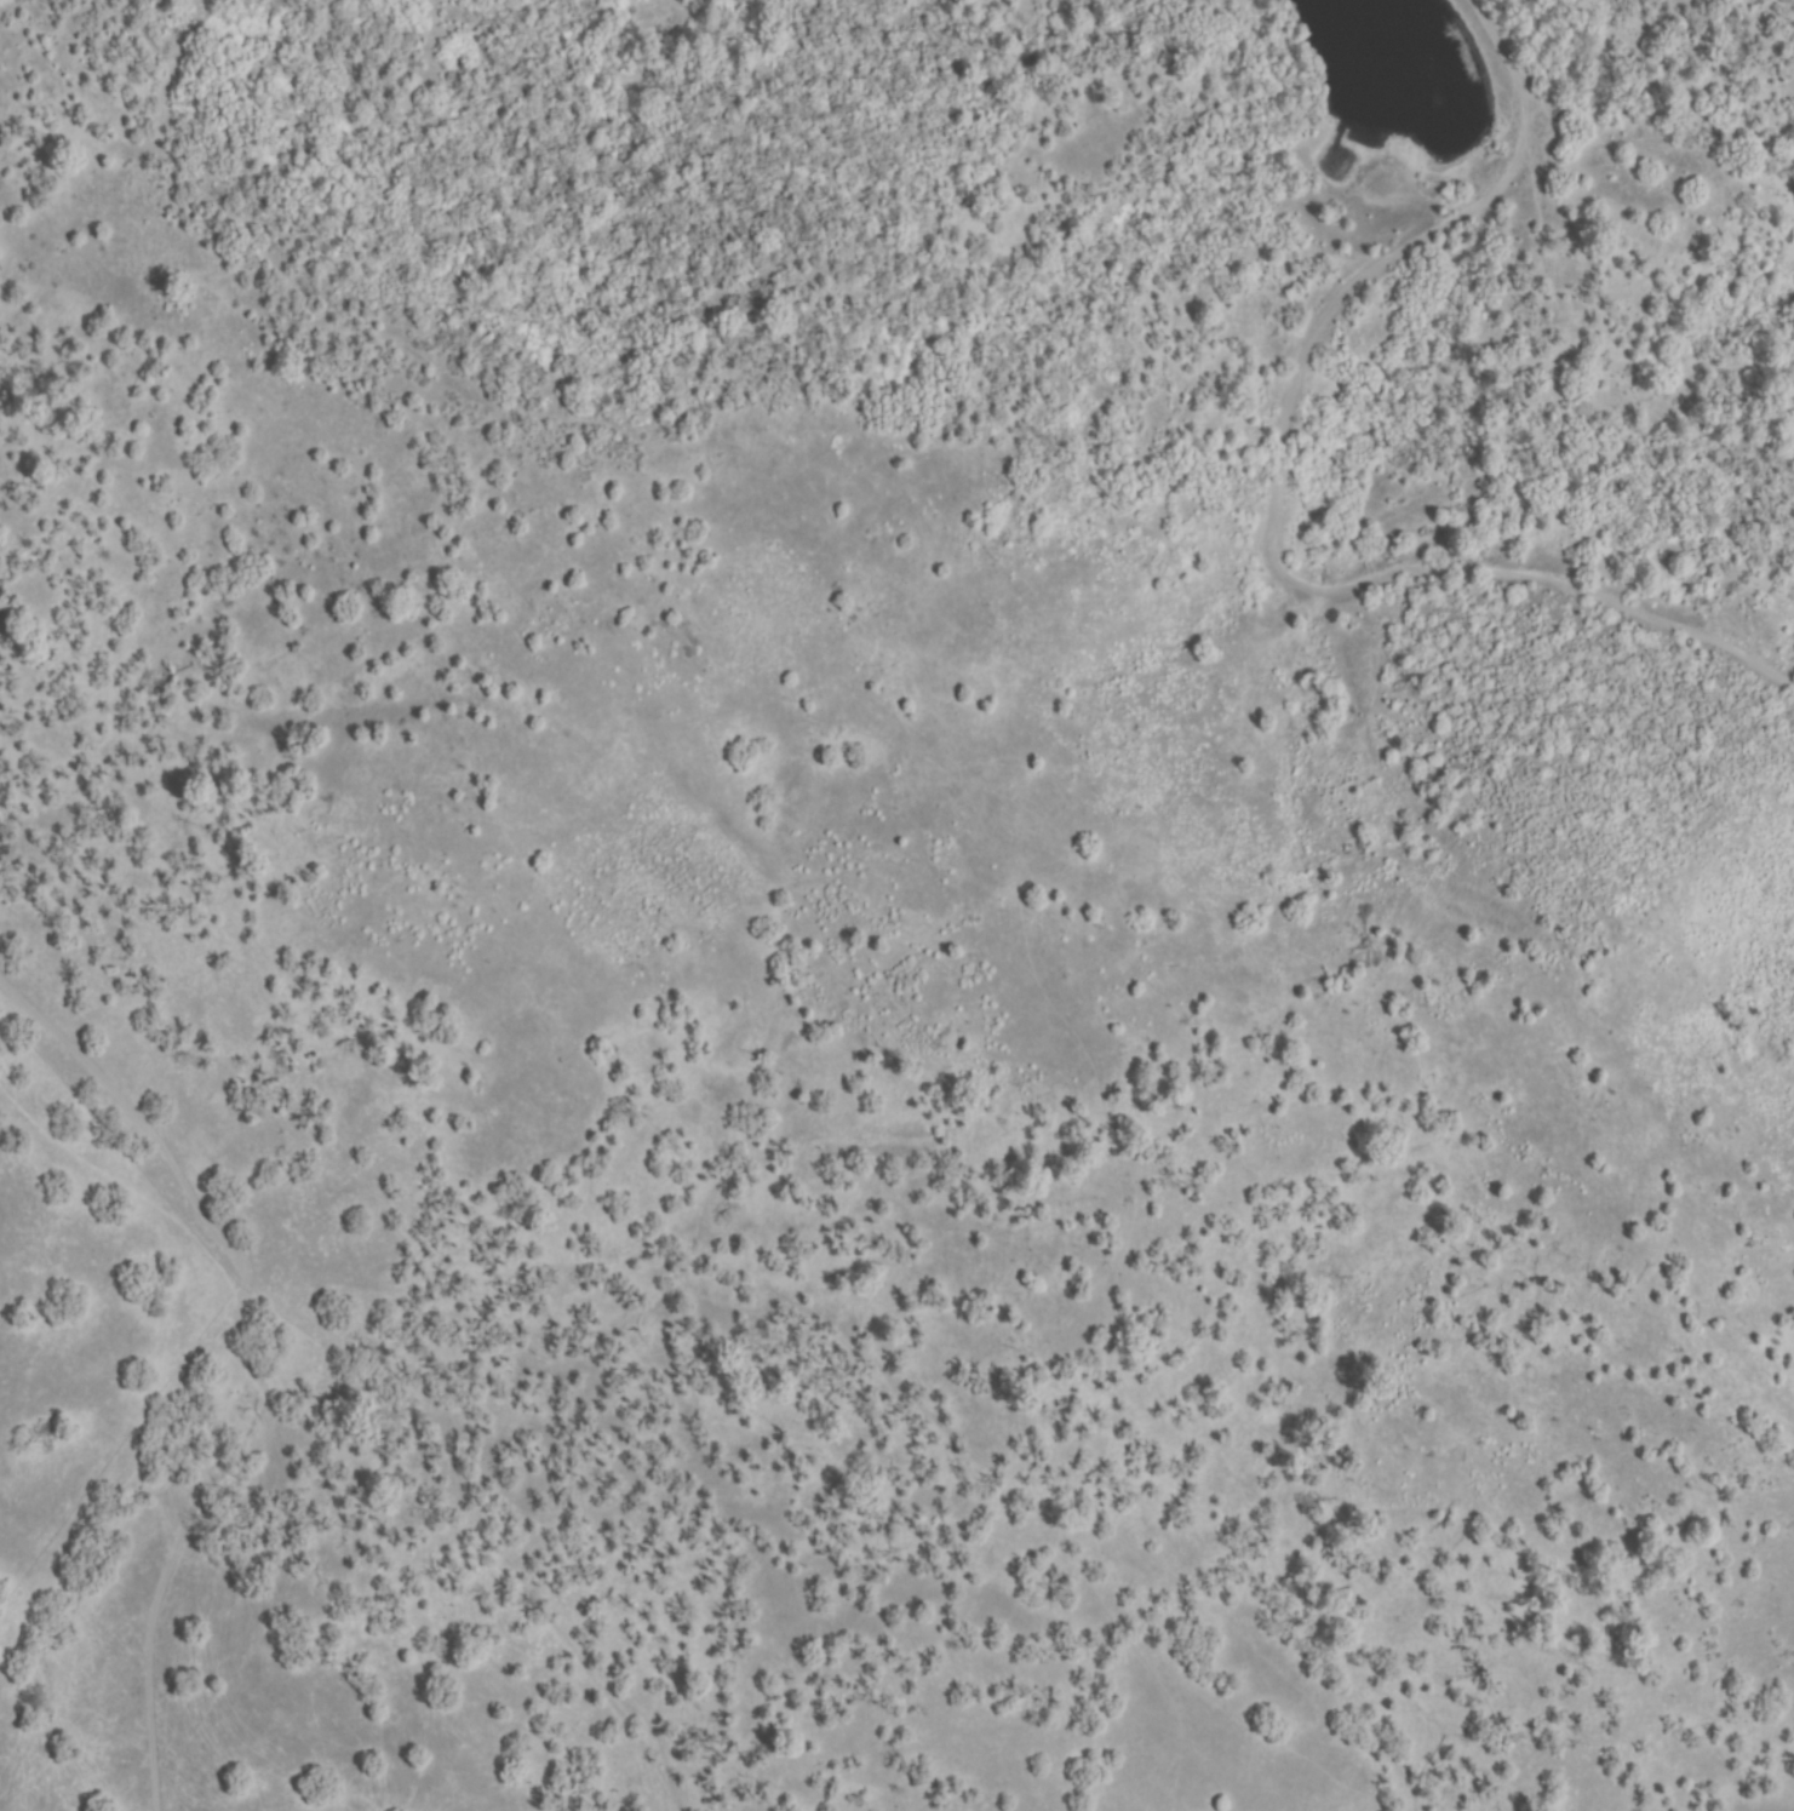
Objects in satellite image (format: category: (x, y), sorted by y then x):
road: (217, 1356)

